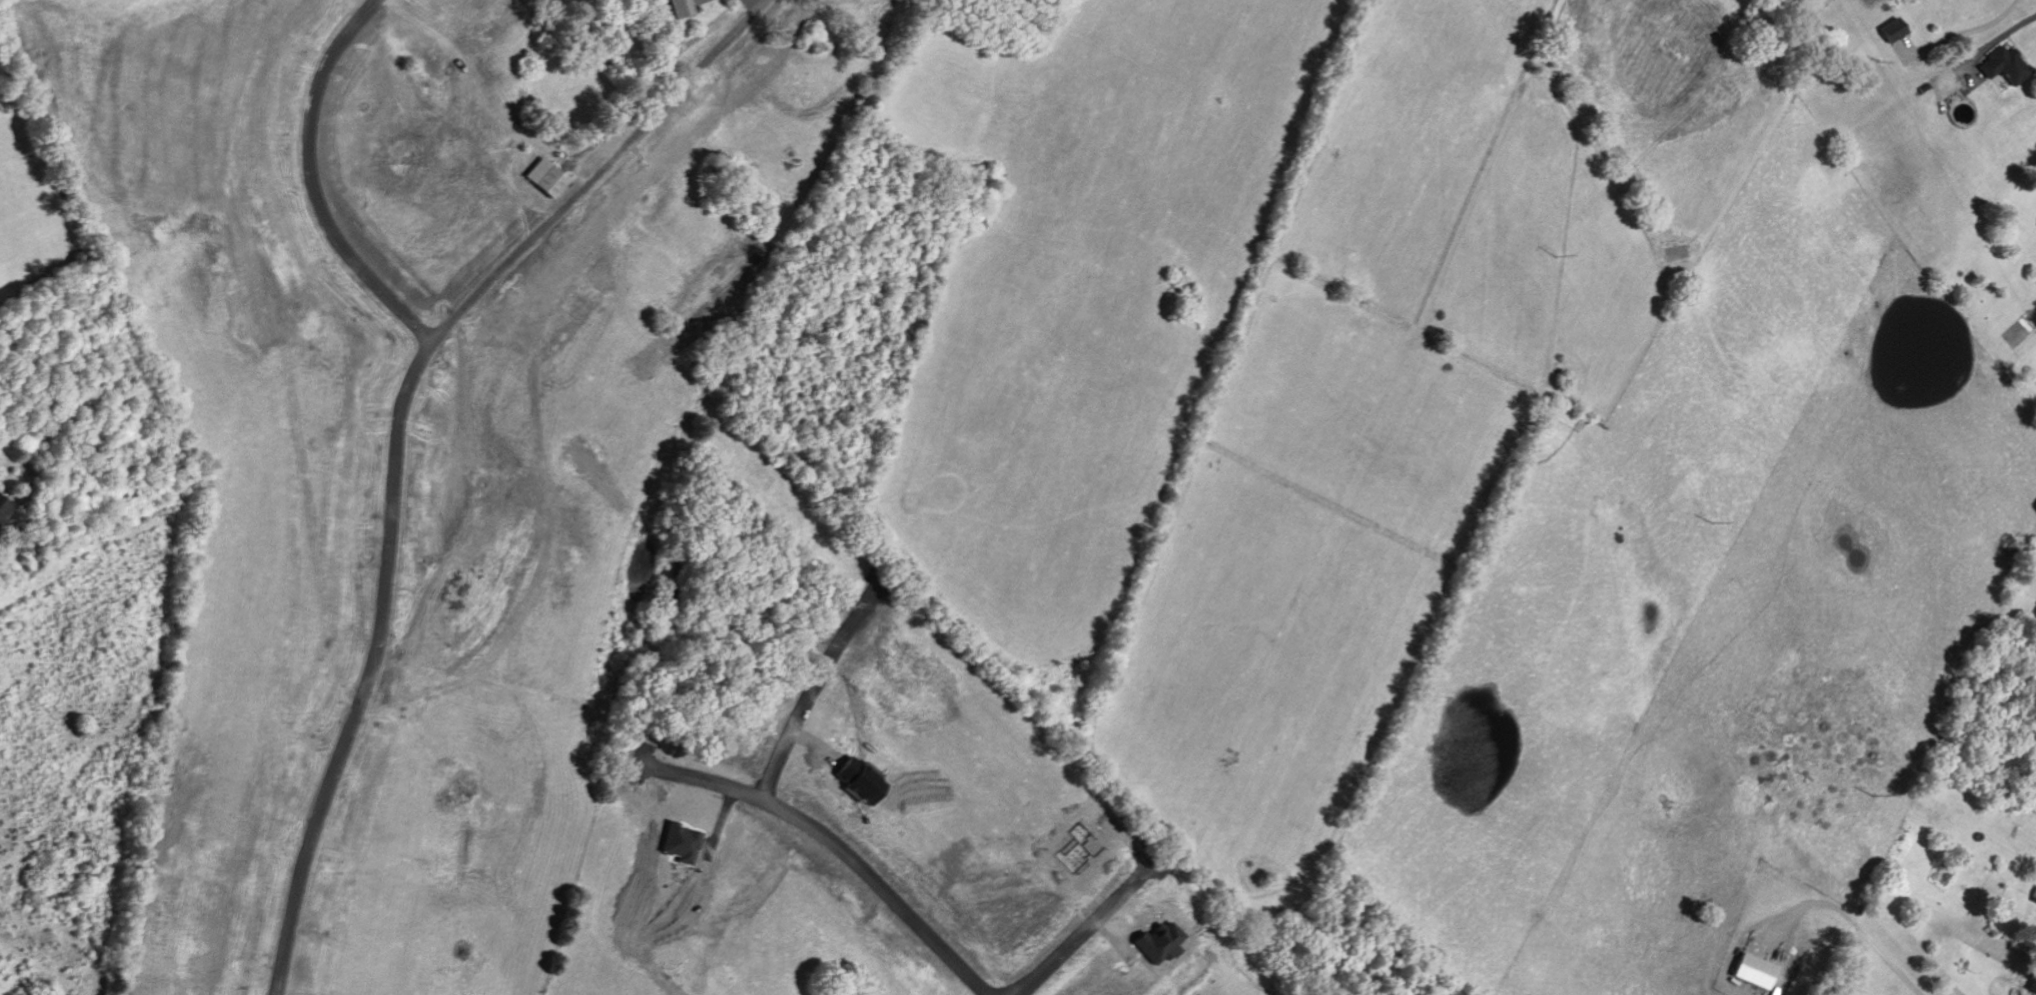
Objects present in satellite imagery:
building: (682, 7)
building: (1895, 28)
building: (2005, 64)
building: (546, 176)
road: (459, 309)
building: (4, 504)
building: (684, 842)
road: (869, 870)
road: (1850, 916)
road: (1078, 932)
building: (1757, 968)

